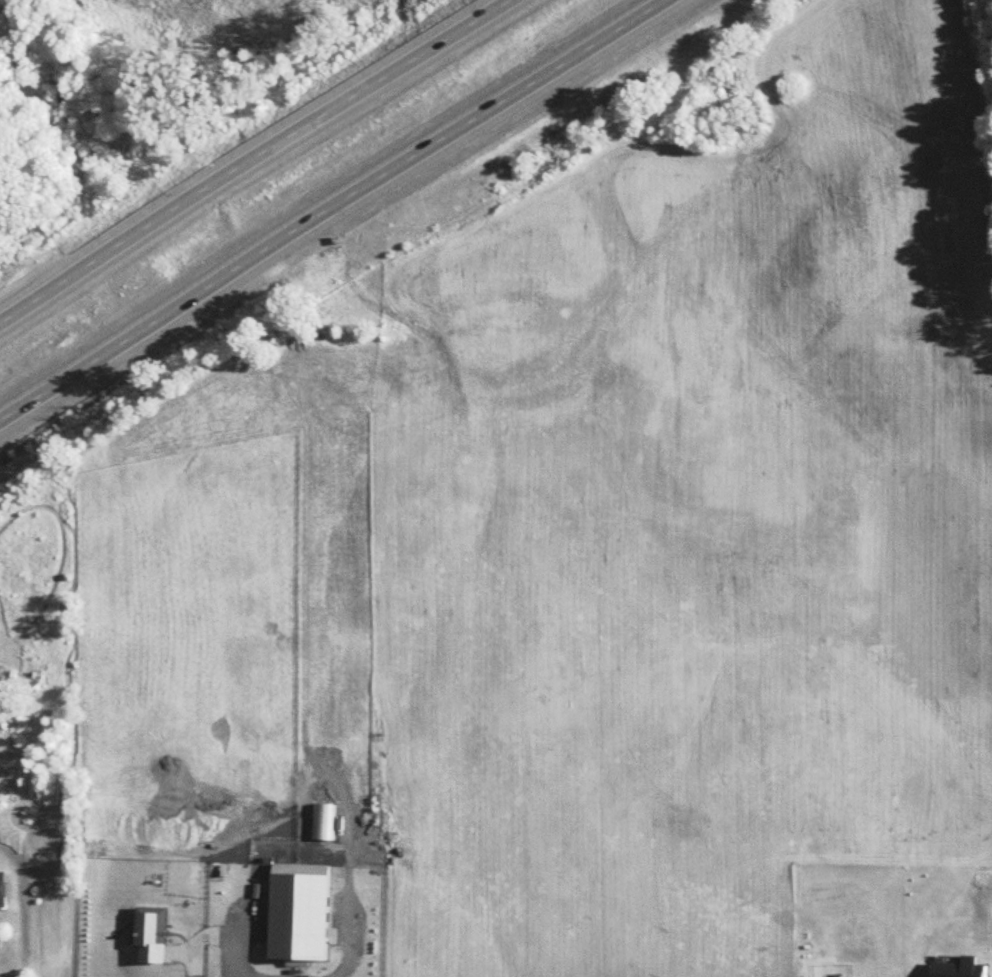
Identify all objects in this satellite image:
road: (257, 162)
road: (337, 208)
building: (2, 892)
road: (236, 941)

